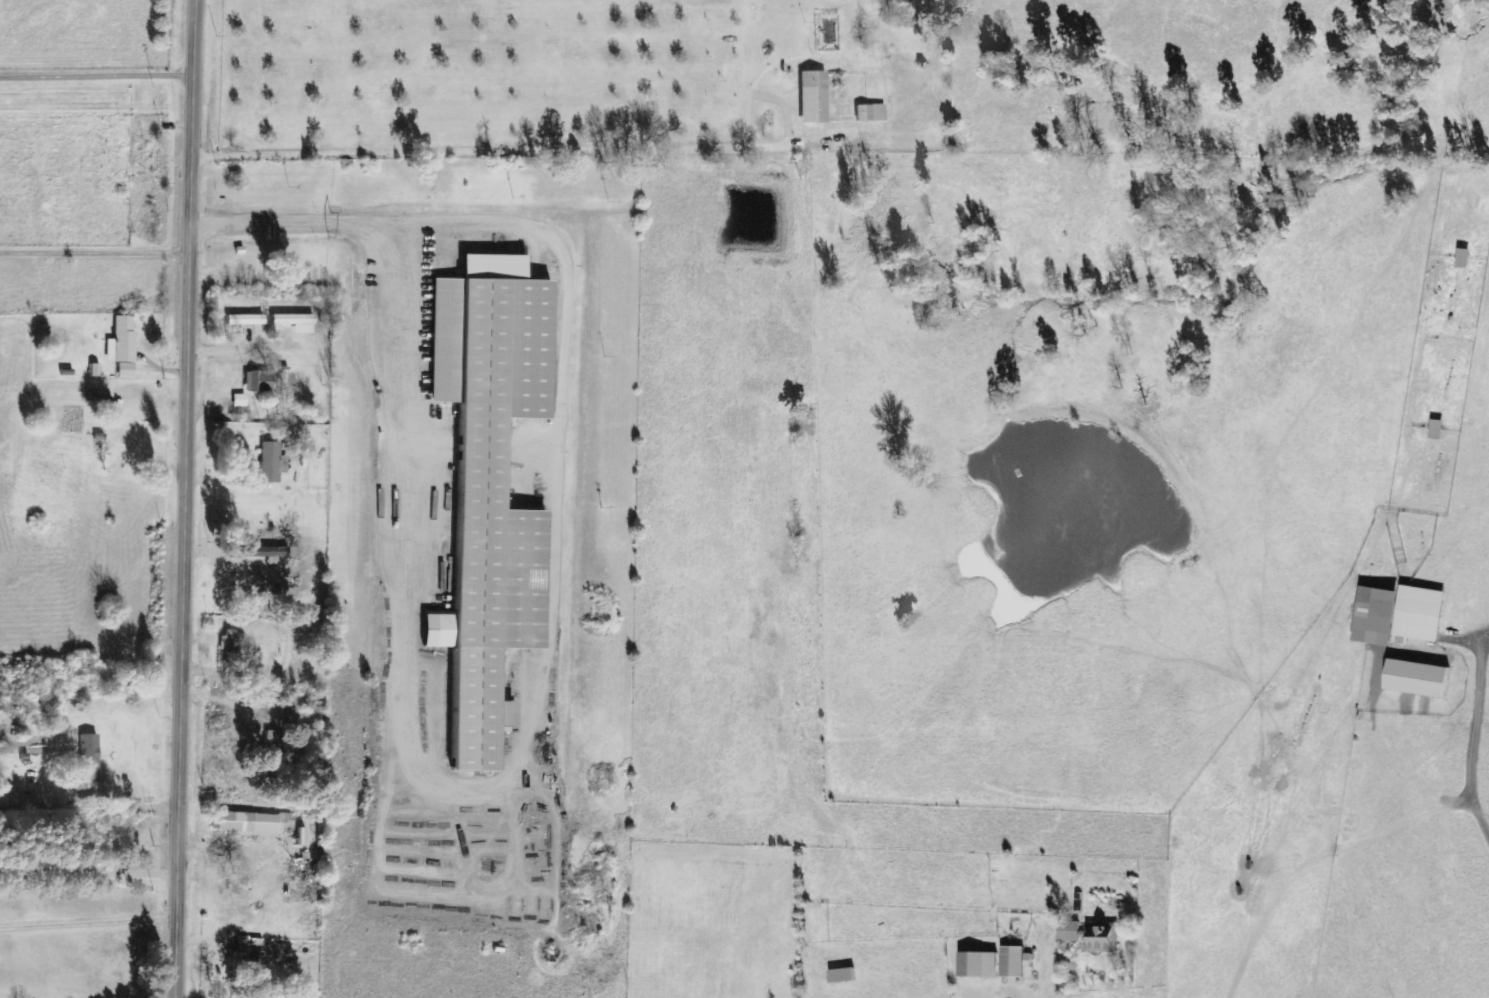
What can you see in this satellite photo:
building: (811, 97)
building: (869, 113)
building: (1463, 258)
building: (243, 320)
building: (294, 322)
building: (121, 346)
building: (257, 381)
building: (238, 400)
building: (270, 462)
building: (486, 486)
road: (189, 498)
road: (342, 612)
building: (1399, 615)
building: (232, 642)
building: (1418, 678)
building: (88, 758)
road: (96, 813)
building: (246, 825)
building: (300, 866)
building: (1091, 936)
building: (246, 958)
building: (1014, 962)
building: (978, 965)
building: (842, 976)

